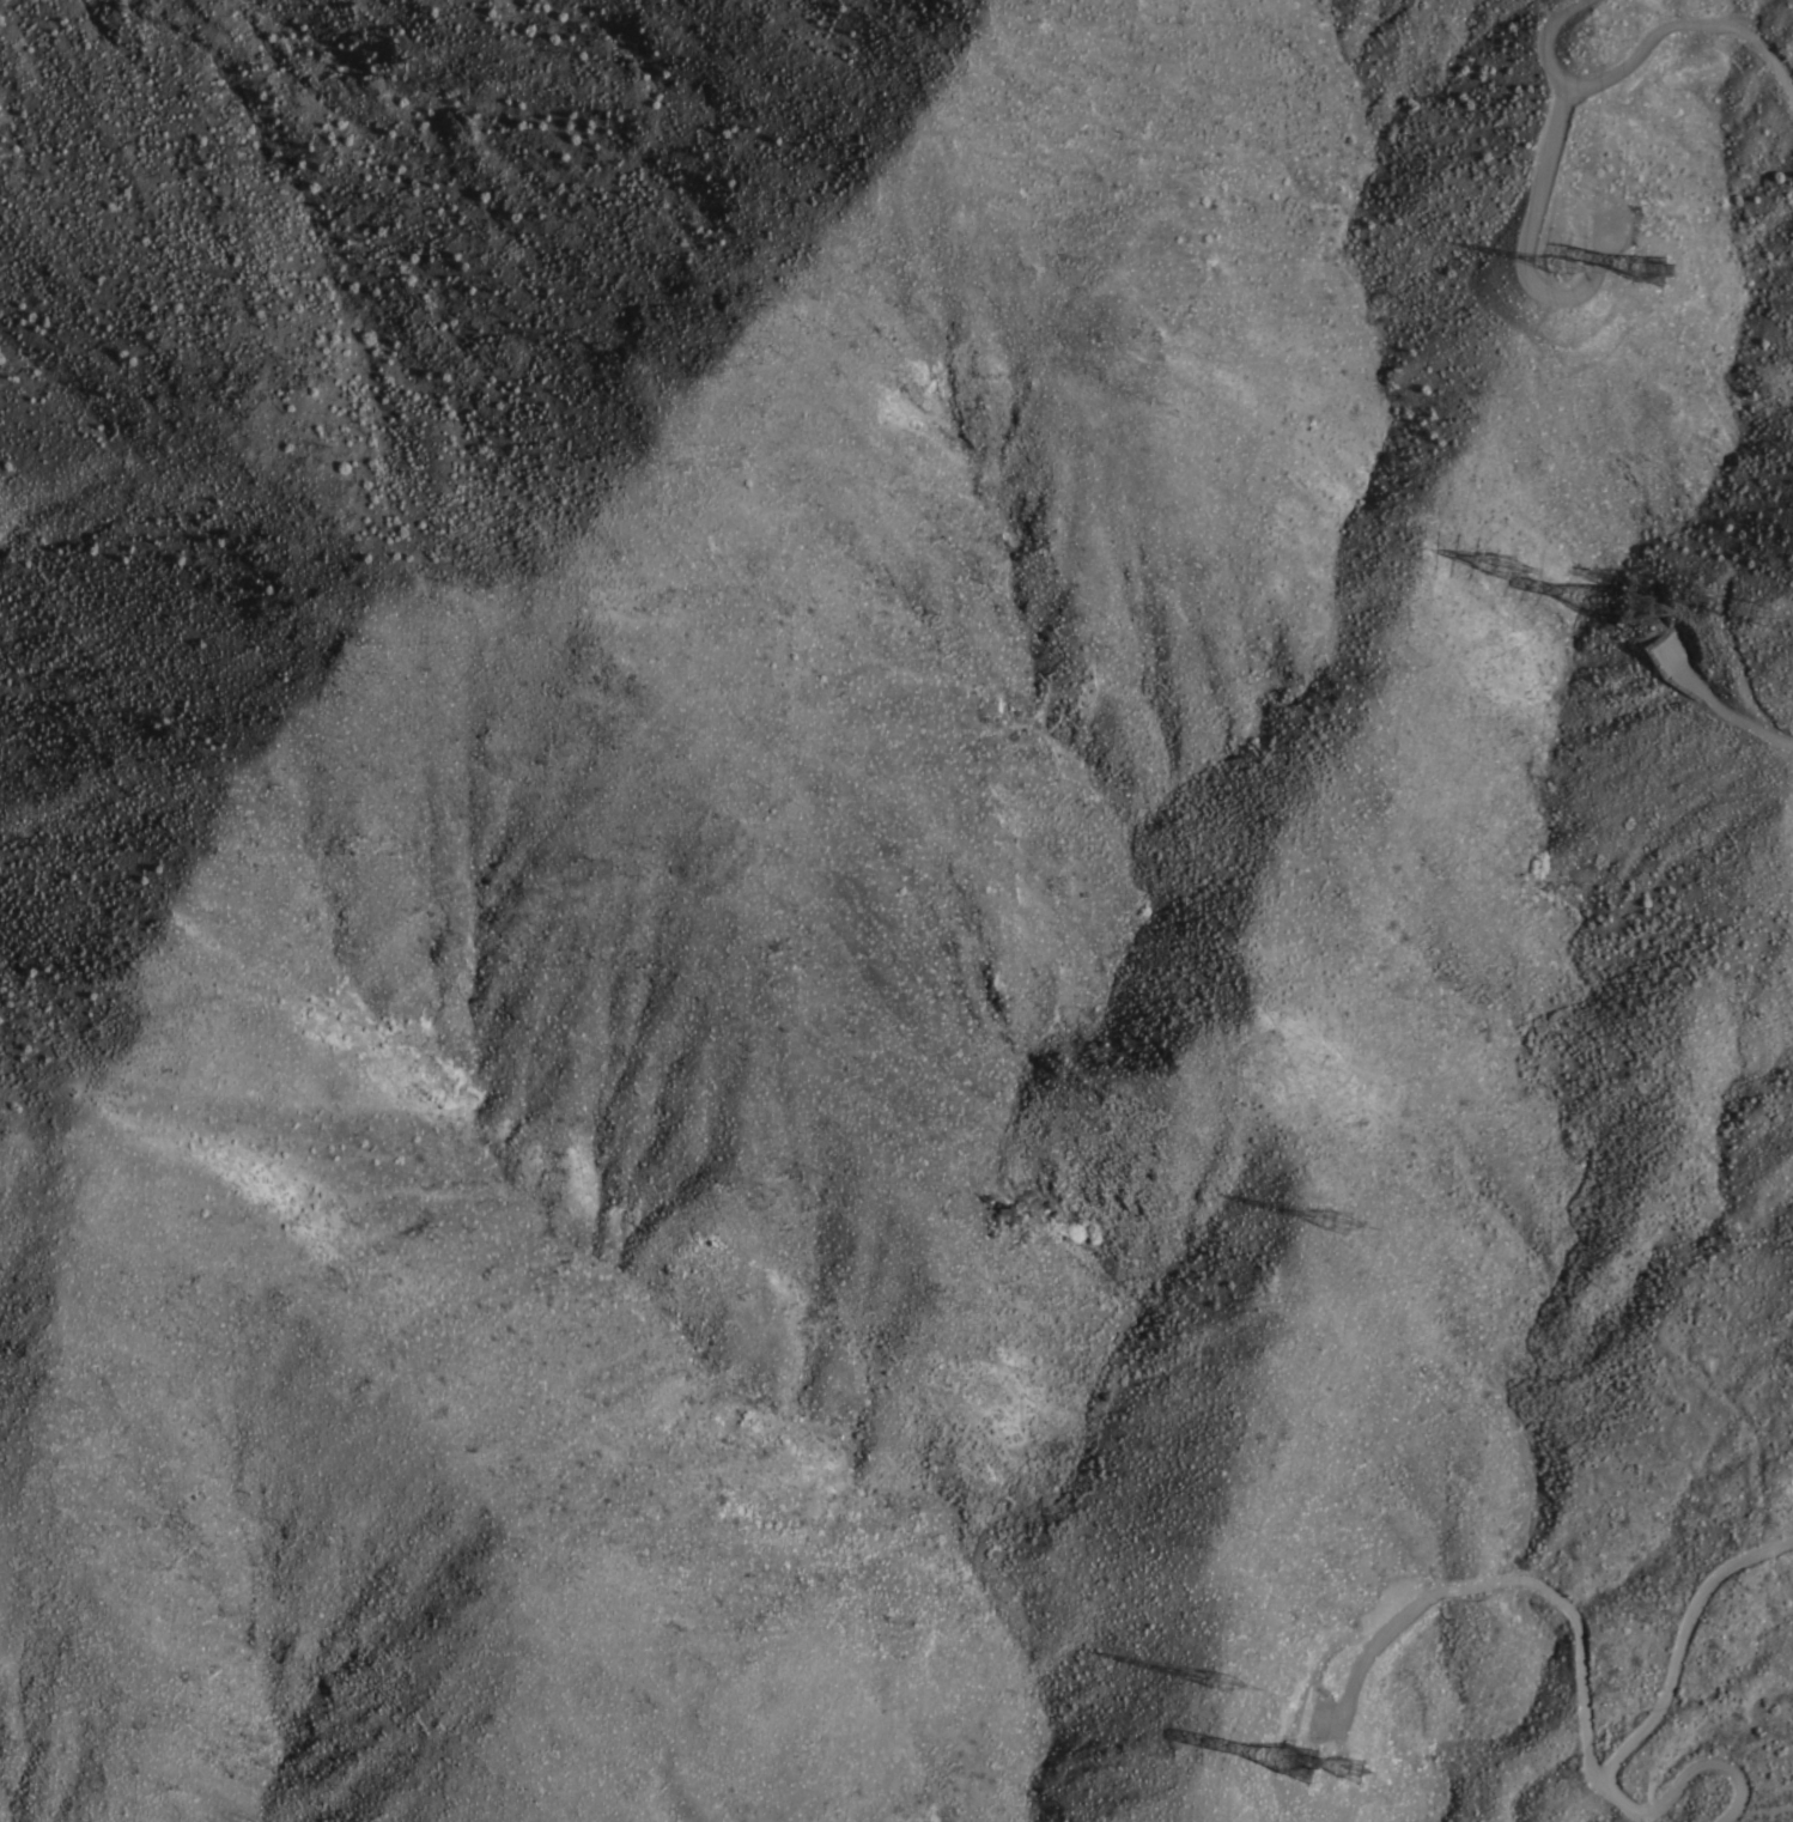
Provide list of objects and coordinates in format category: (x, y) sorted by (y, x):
road: (1649, 26)
power tower: (1695, 54)
power tower: (1564, 290)
power tower: (1581, 573)
power tower: (1507, 575)
power tower: (1646, 590)
power tower: (1702, 601)
power tower: (1758, 626)
power tower: (1343, 1234)
power tower: (1519, 1616)
power tower: (1554, 1632)
power tower: (1223, 1692)
road: (1623, 1730)
power tower: (1303, 1735)
power tower: (1331, 1814)

